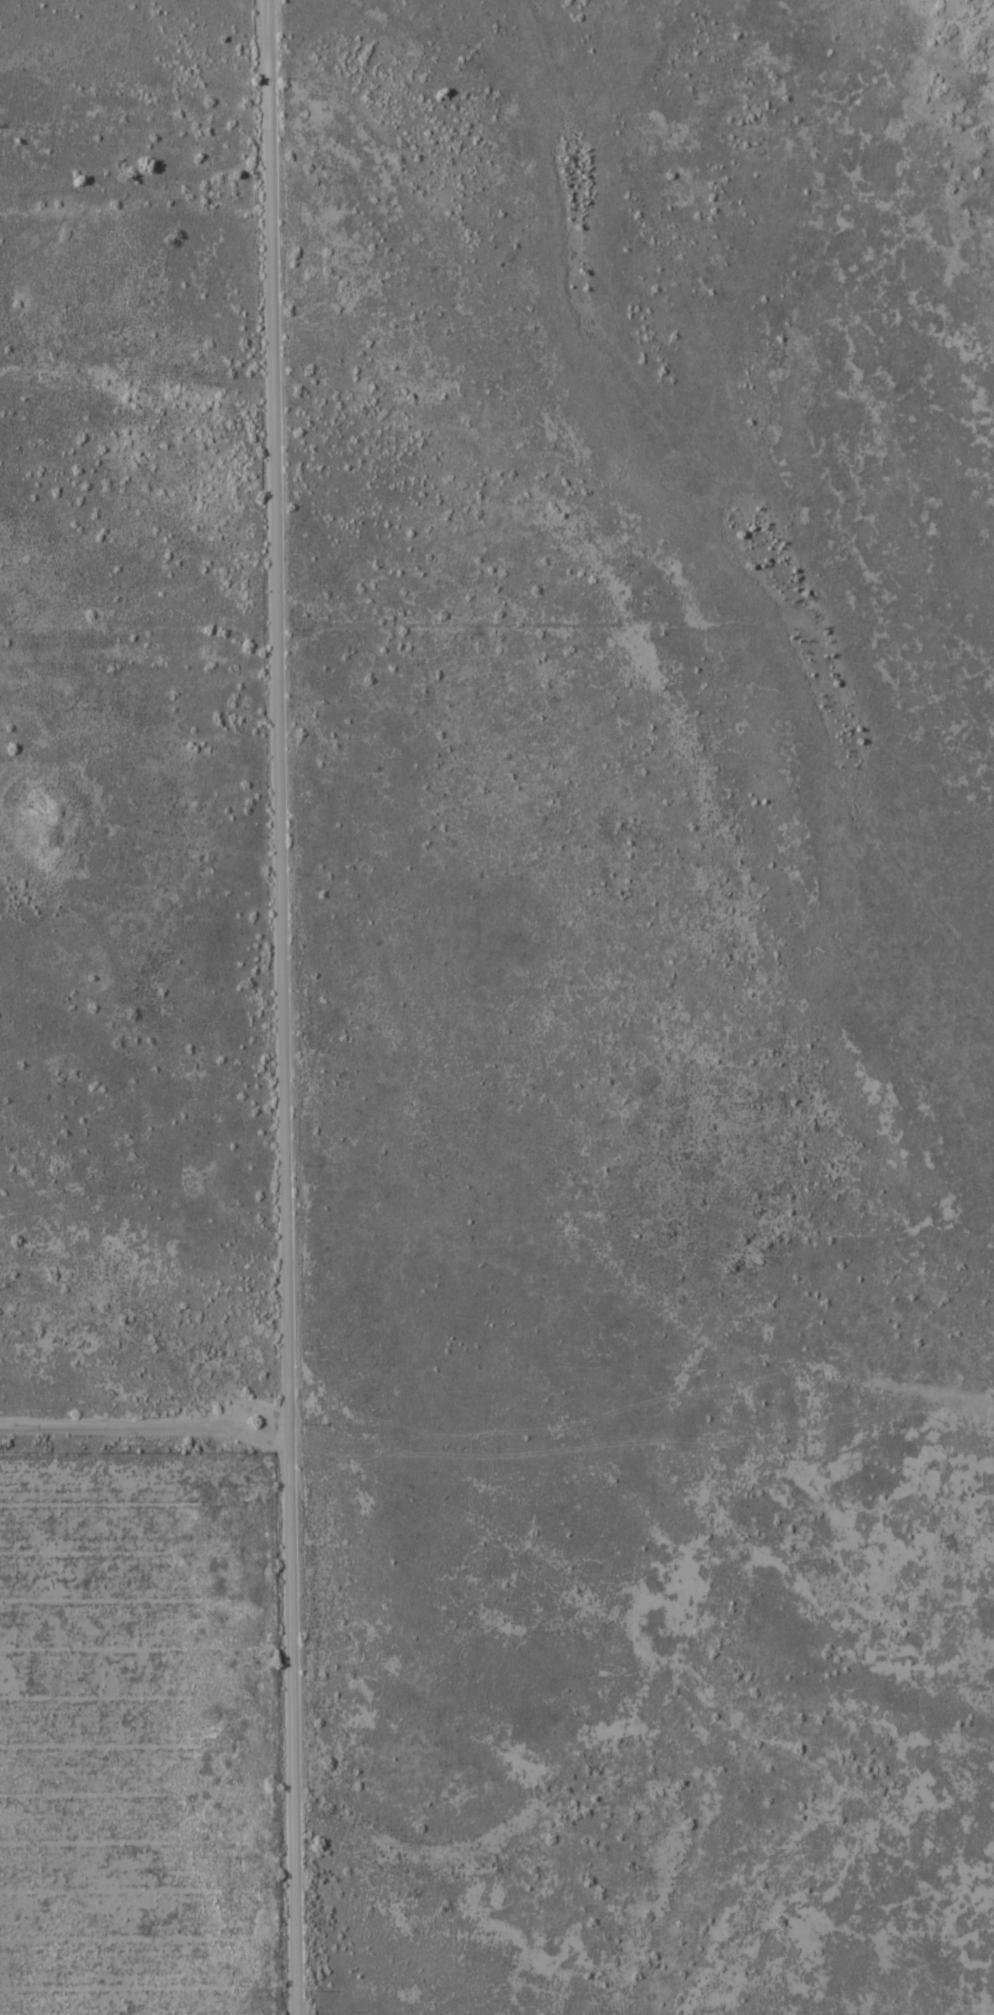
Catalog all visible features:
road: (138, 395)
road: (285, 1007)
road: (145, 1419)

